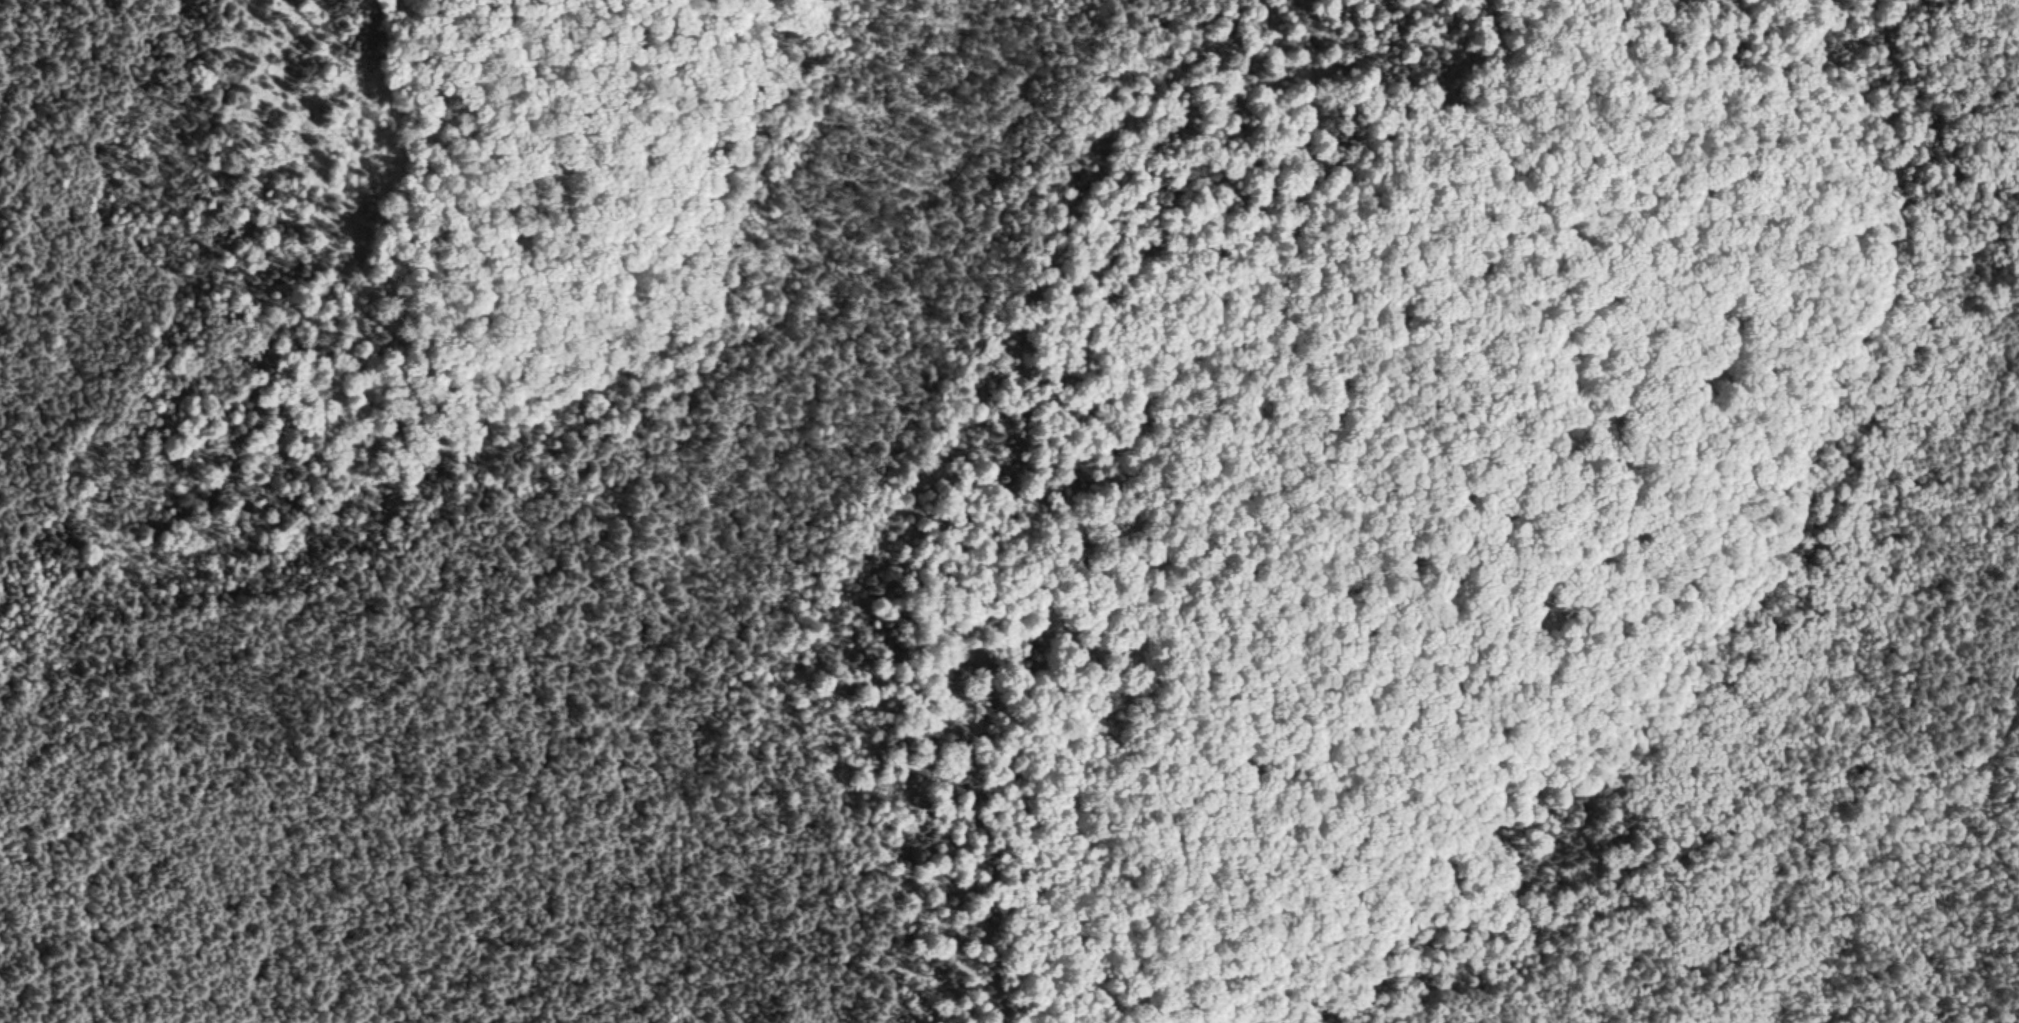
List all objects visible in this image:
river: (1819, 846)

